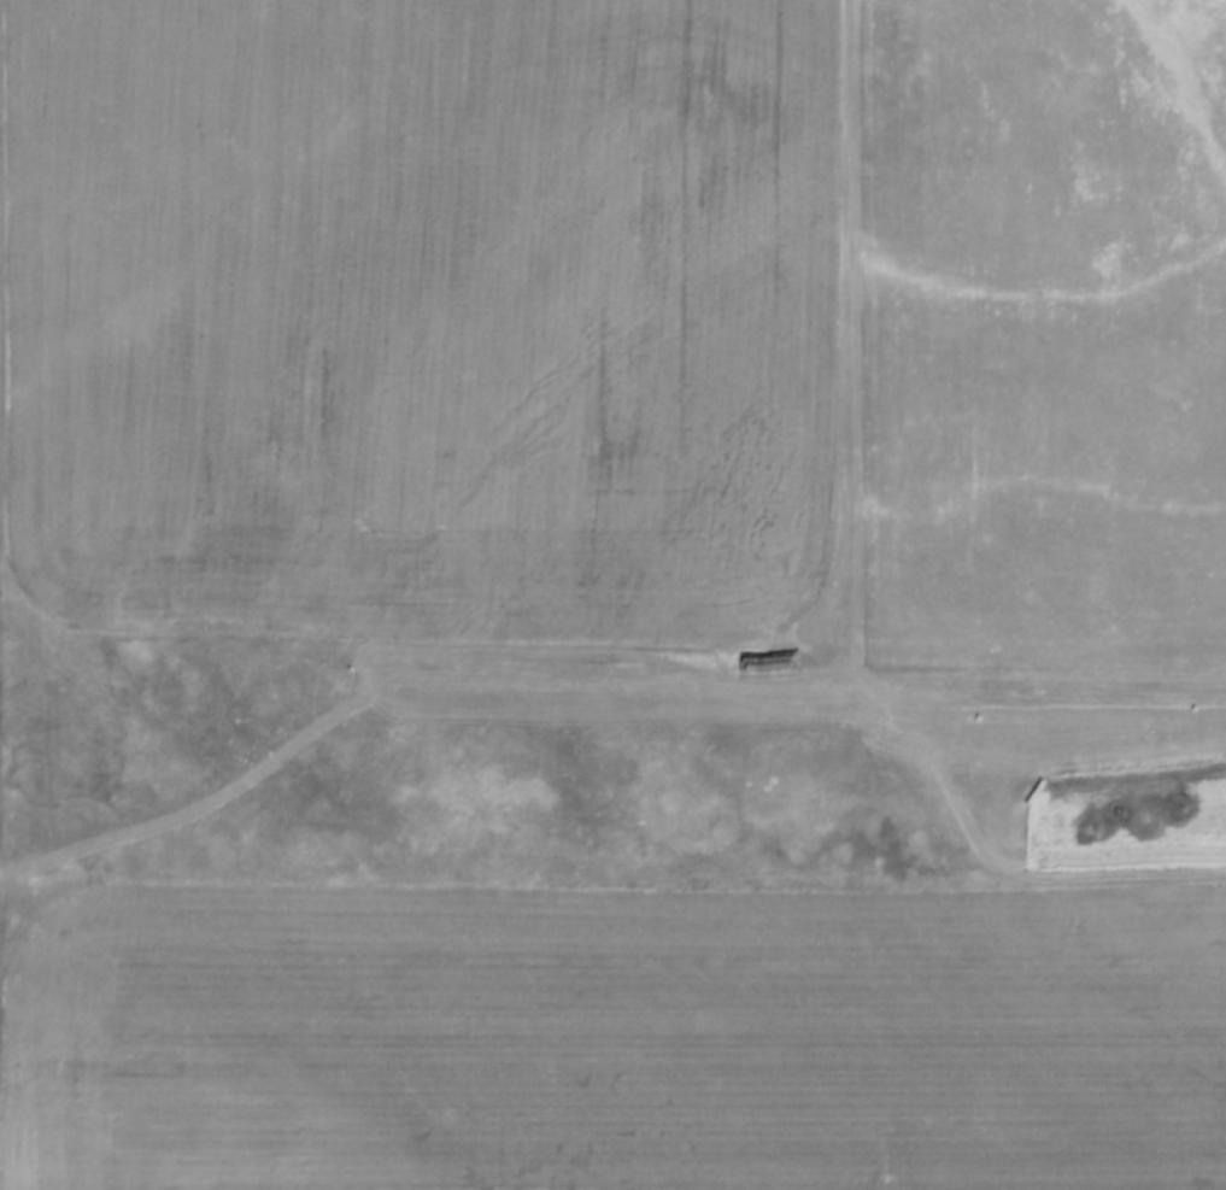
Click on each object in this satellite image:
road: (236, 786)

